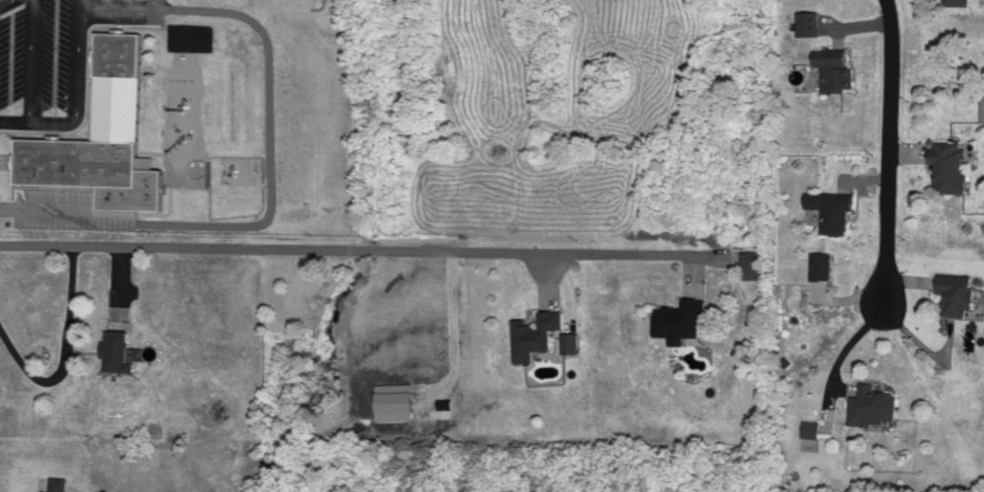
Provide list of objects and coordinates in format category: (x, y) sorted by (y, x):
road: (3, 1)
building: (959, 2)
road: (117, 4)
building: (810, 22)
building: (836, 68)
road: (30, 74)
road: (76, 82)
building: (983, 106)
road: (270, 131)
building: (106, 136)
road: (886, 152)
building: (150, 161)
building: (952, 164)
road: (6, 202)
road: (74, 209)
building: (834, 209)
road: (377, 252)
building: (754, 264)
building: (823, 264)
building: (960, 291)
building: (683, 318)
building: (536, 333)
building: (572, 341)
road: (59, 351)
building: (119, 351)
road: (453, 374)
building: (875, 404)
building: (813, 428)
building: (61, 484)
road: (17, 487)

